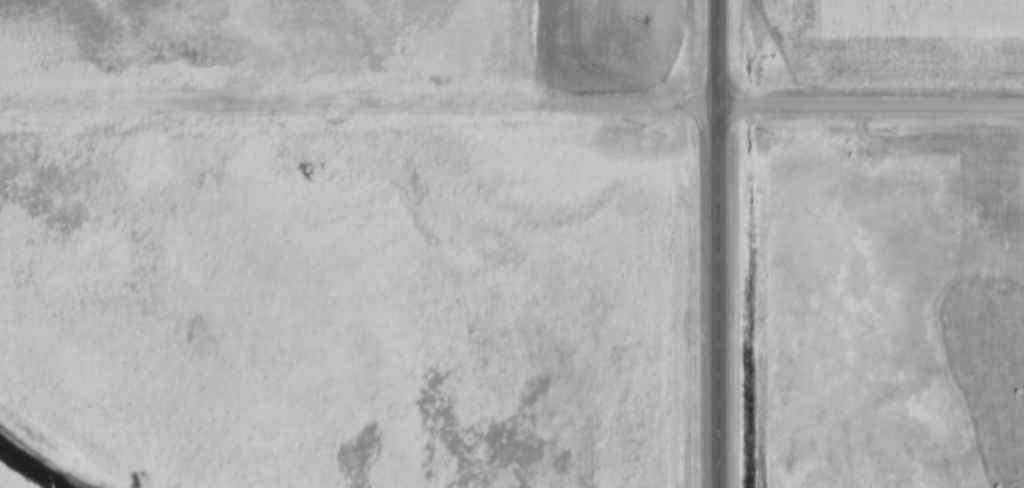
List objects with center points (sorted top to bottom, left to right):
road: (362, 105)
road: (874, 107)
road: (725, 244)
river: (33, 468)

